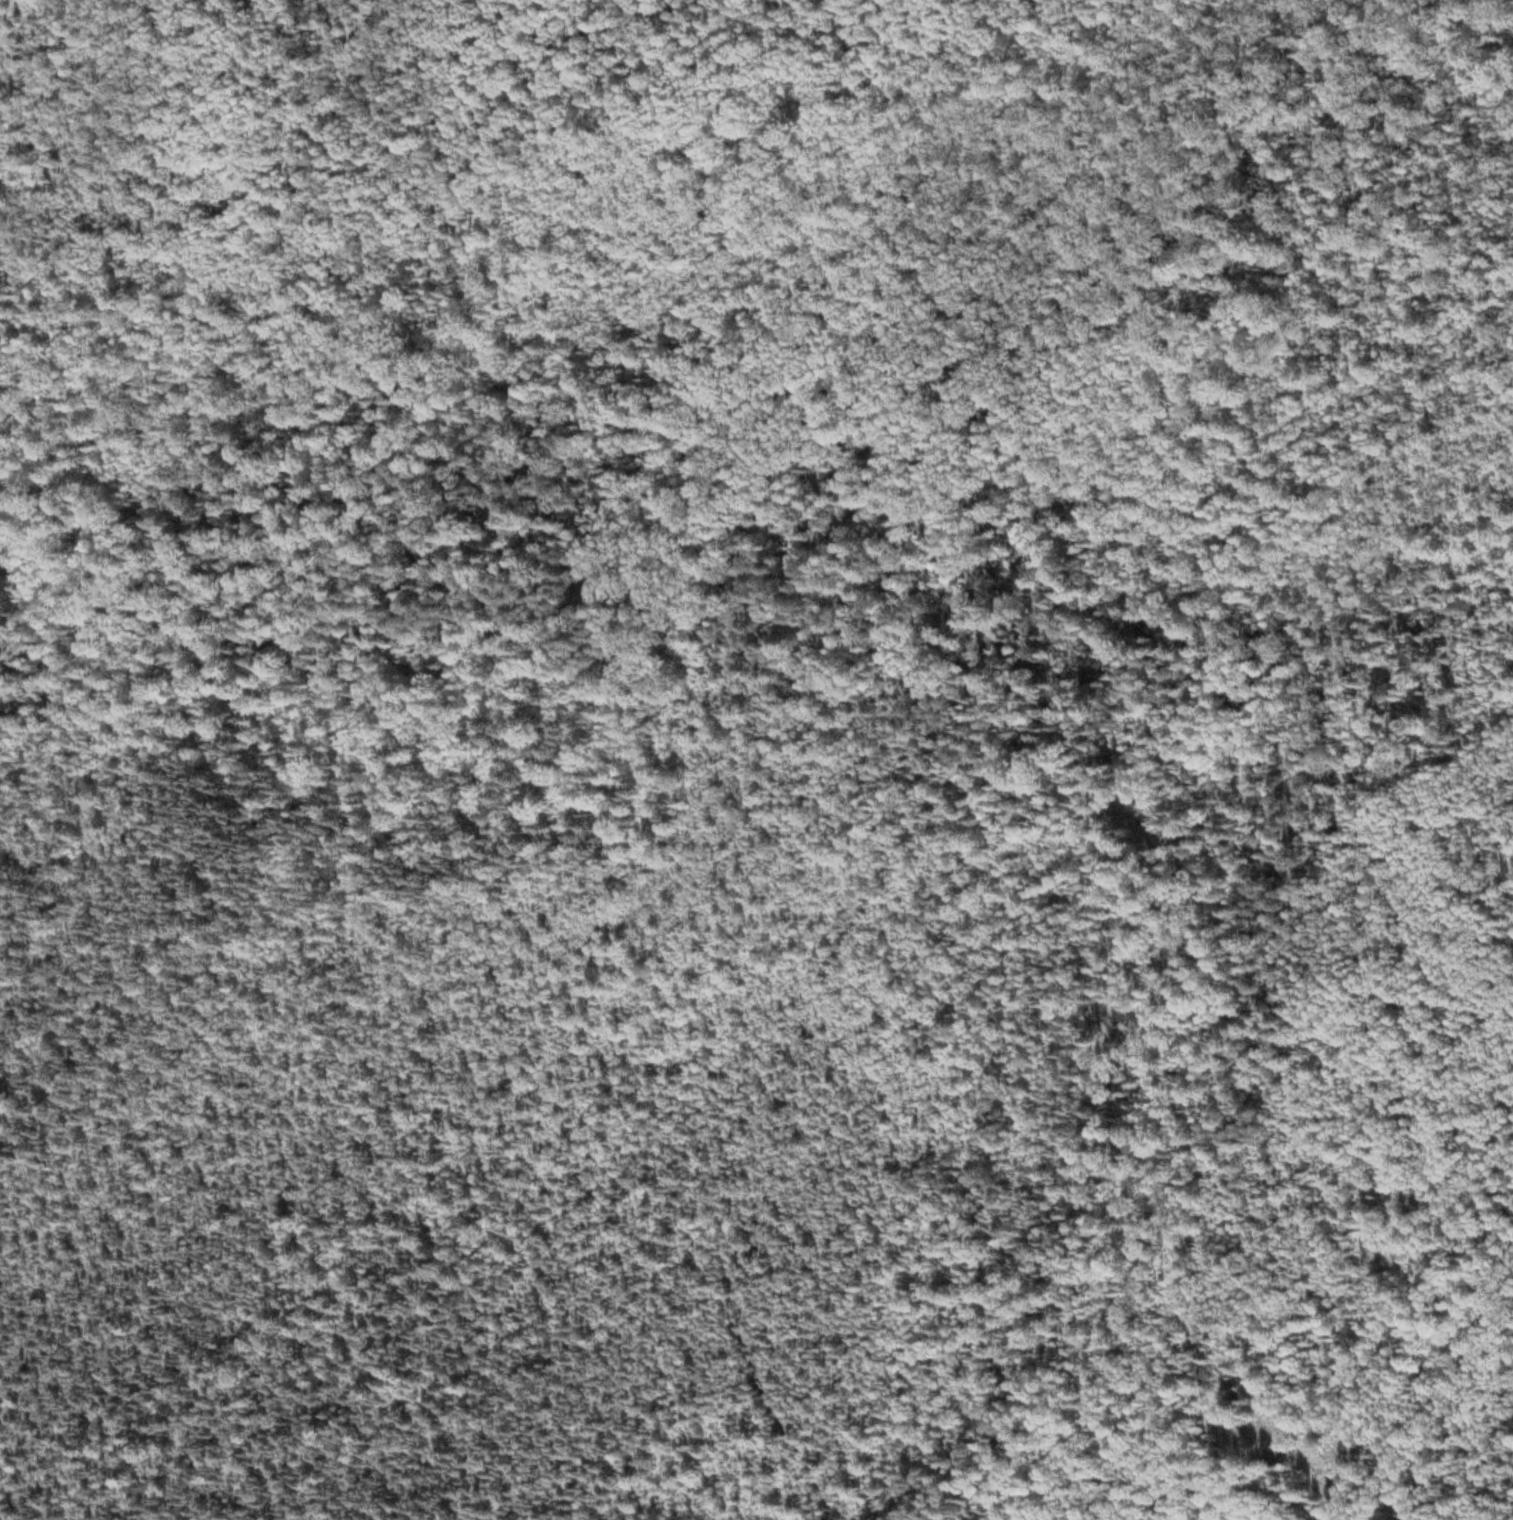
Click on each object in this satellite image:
road: (1399, 1456)

